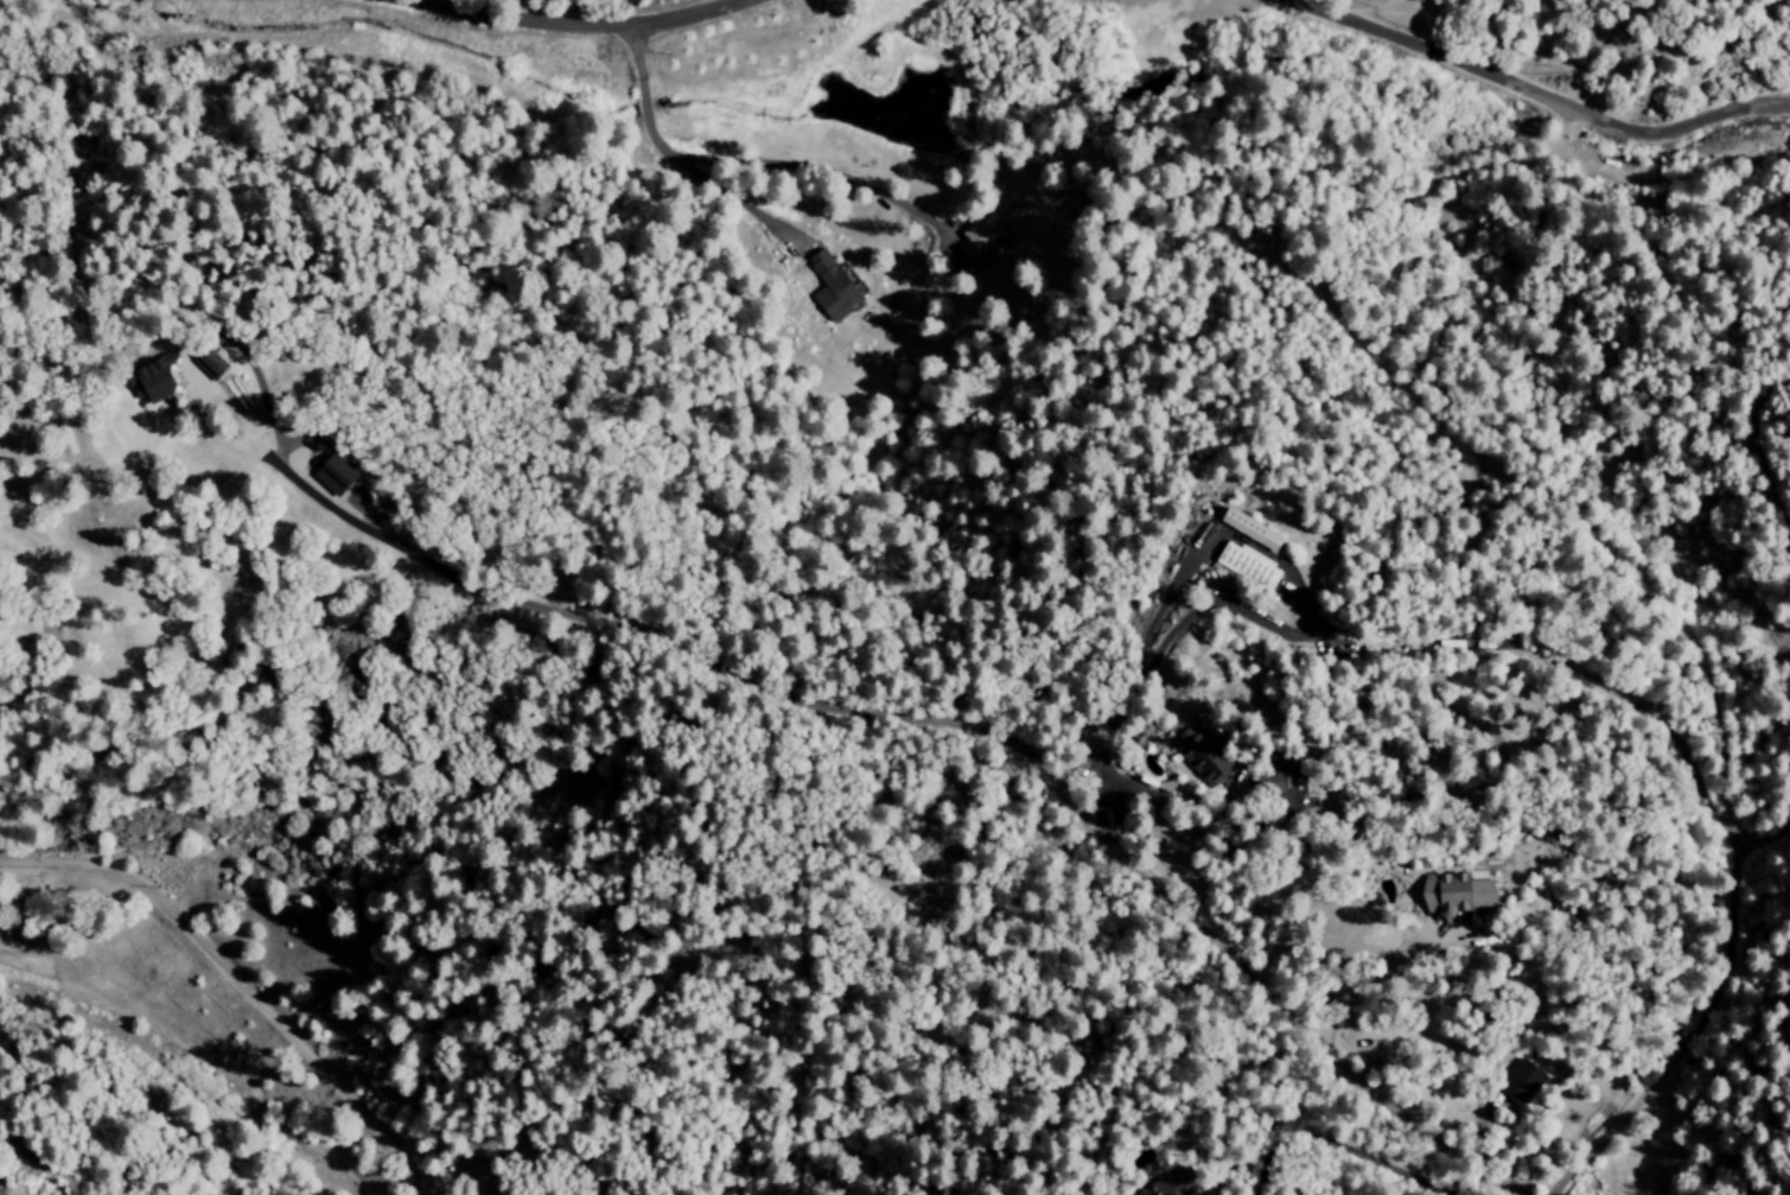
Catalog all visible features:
road: (741, 2)
road: (555, 32)
road: (1512, 97)
road: (1568, 126)
road: (669, 153)
building: (830, 287)
building: (205, 362)
road: (1381, 363)
building: (145, 382)
road: (189, 403)
road: (1748, 438)
building: (332, 473)
building: (1248, 529)
building: (1248, 567)
road: (1269, 623)
road: (1587, 675)
road: (1129, 685)
road: (957, 729)
building: (1199, 754)
building: (1288, 799)
building: (1454, 895)
road: (1364, 979)
road: (237, 983)
road: (1692, 1017)
building: (1521, 1083)
road: (1336, 1145)
building: (1159, 1186)

